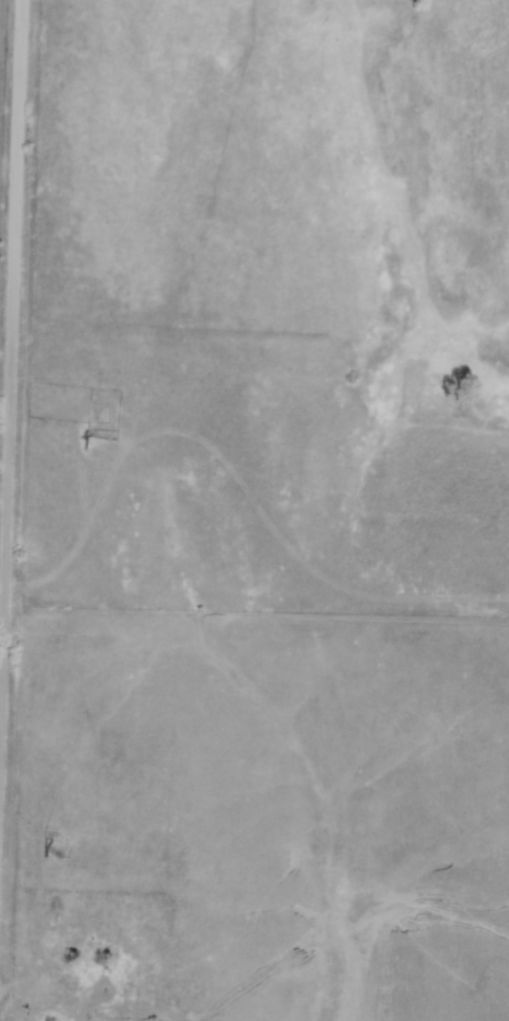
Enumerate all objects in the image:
road: (12, 389)

